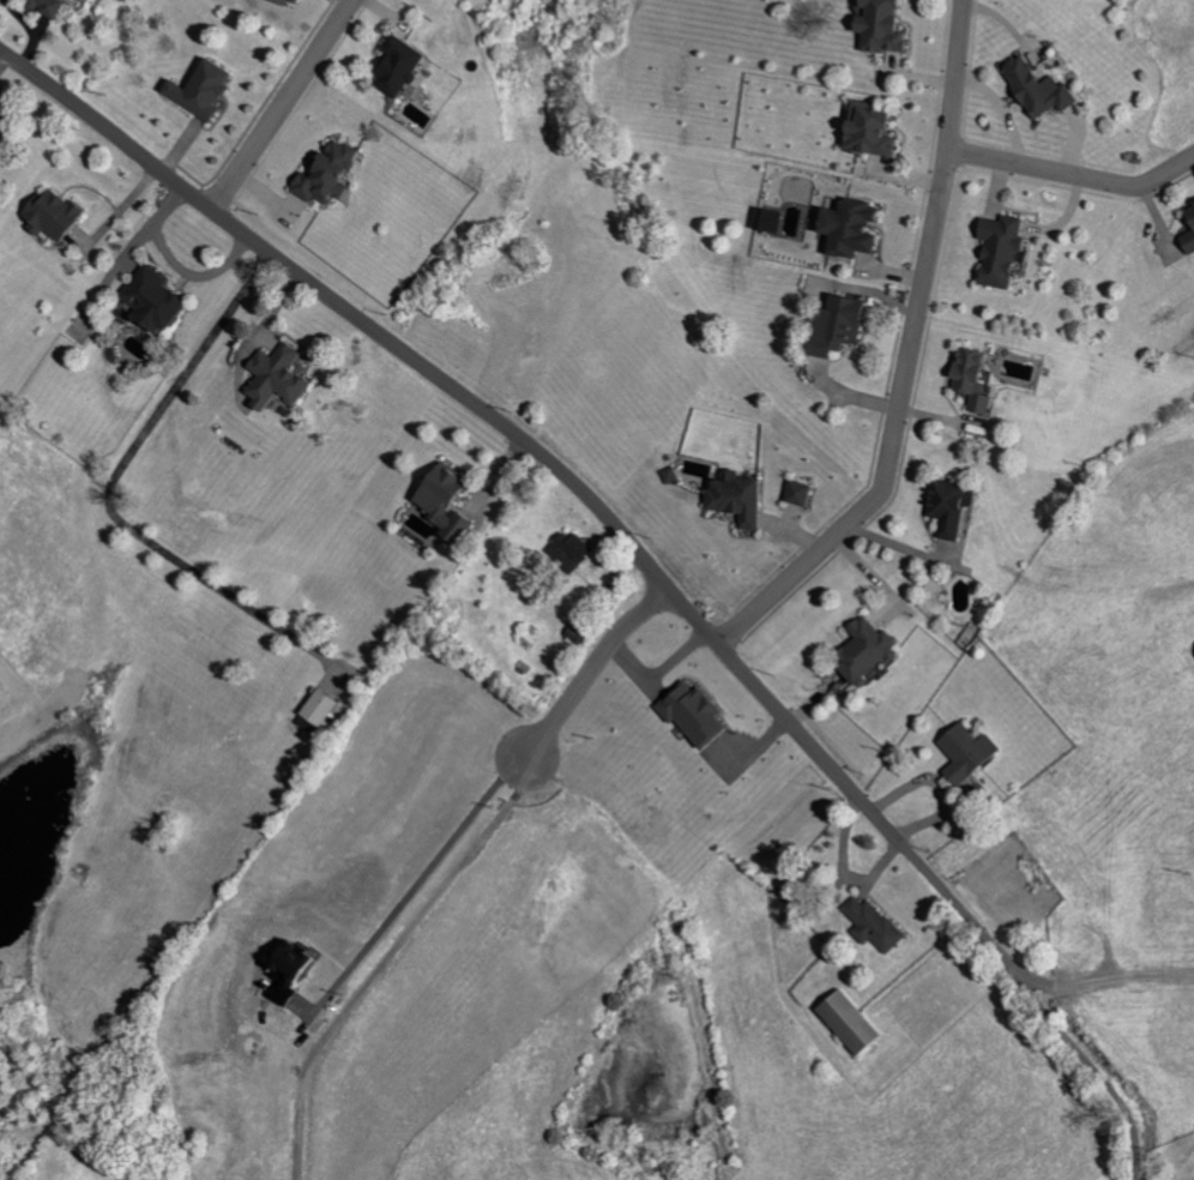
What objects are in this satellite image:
building: (297, 2)
building: (55, 6)
building: (890, 26)
building: (406, 67)
building: (1035, 88)
building: (209, 90)
road: (282, 103)
building: (863, 130)
building: (7, 142)
road: (1073, 171)
building: (336, 175)
building: (62, 216)
building: (765, 219)
building: (1188, 221)
building: (843, 228)
building: (995, 249)
building: (163, 300)
building: (831, 325)
road: (905, 356)
building: (284, 378)
building: (967, 378)
road: (565, 475)
building: (795, 493)
building: (731, 498)
building: (439, 501)
building: (946, 506)
building: (567, 550)
building: (861, 649)
road: (593, 666)
road: (658, 673)
building: (316, 708)
building: (691, 715)
building: (963, 752)
road: (422, 878)
building: (872, 925)
building: (285, 965)
road: (1121, 974)
building: (845, 1023)
road: (1098, 1071)
road: (1138, 1178)

